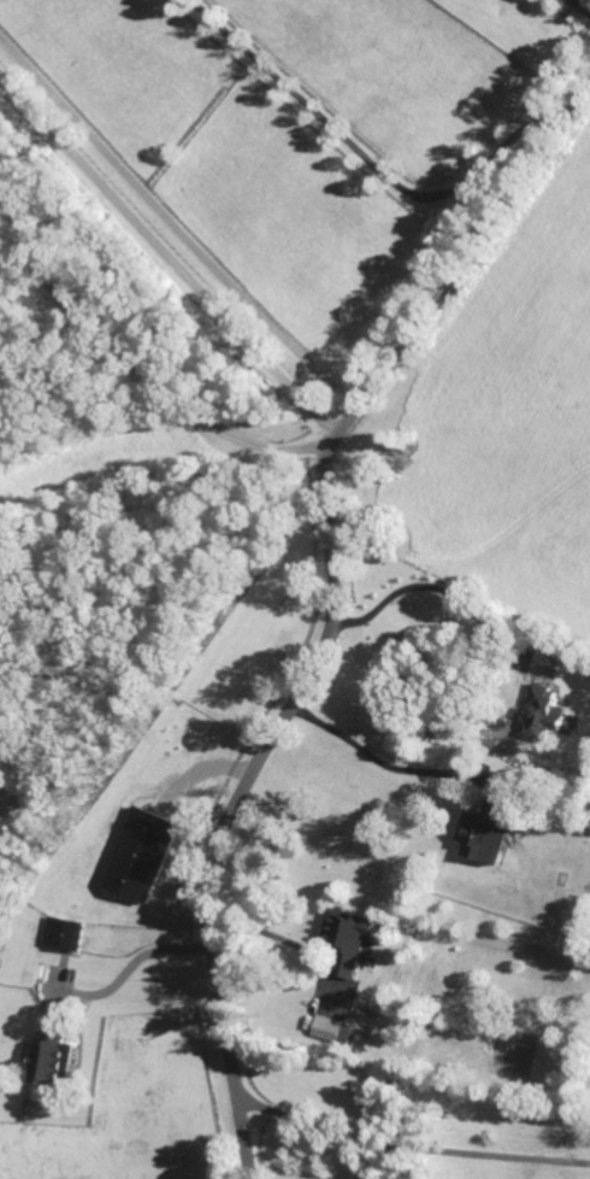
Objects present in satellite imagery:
road: (588, 1)
road: (360, 158)
road: (177, 227)
road: (167, 258)
road: (128, 369)
road: (467, 556)
road: (431, 587)
road: (332, 605)
building: (542, 712)
road: (383, 762)
building: (484, 835)
building: (142, 854)
building: (64, 933)
road: (275, 934)
building: (350, 937)
road: (130, 968)
building: (334, 1028)
building: (53, 1058)
road: (409, 1146)

